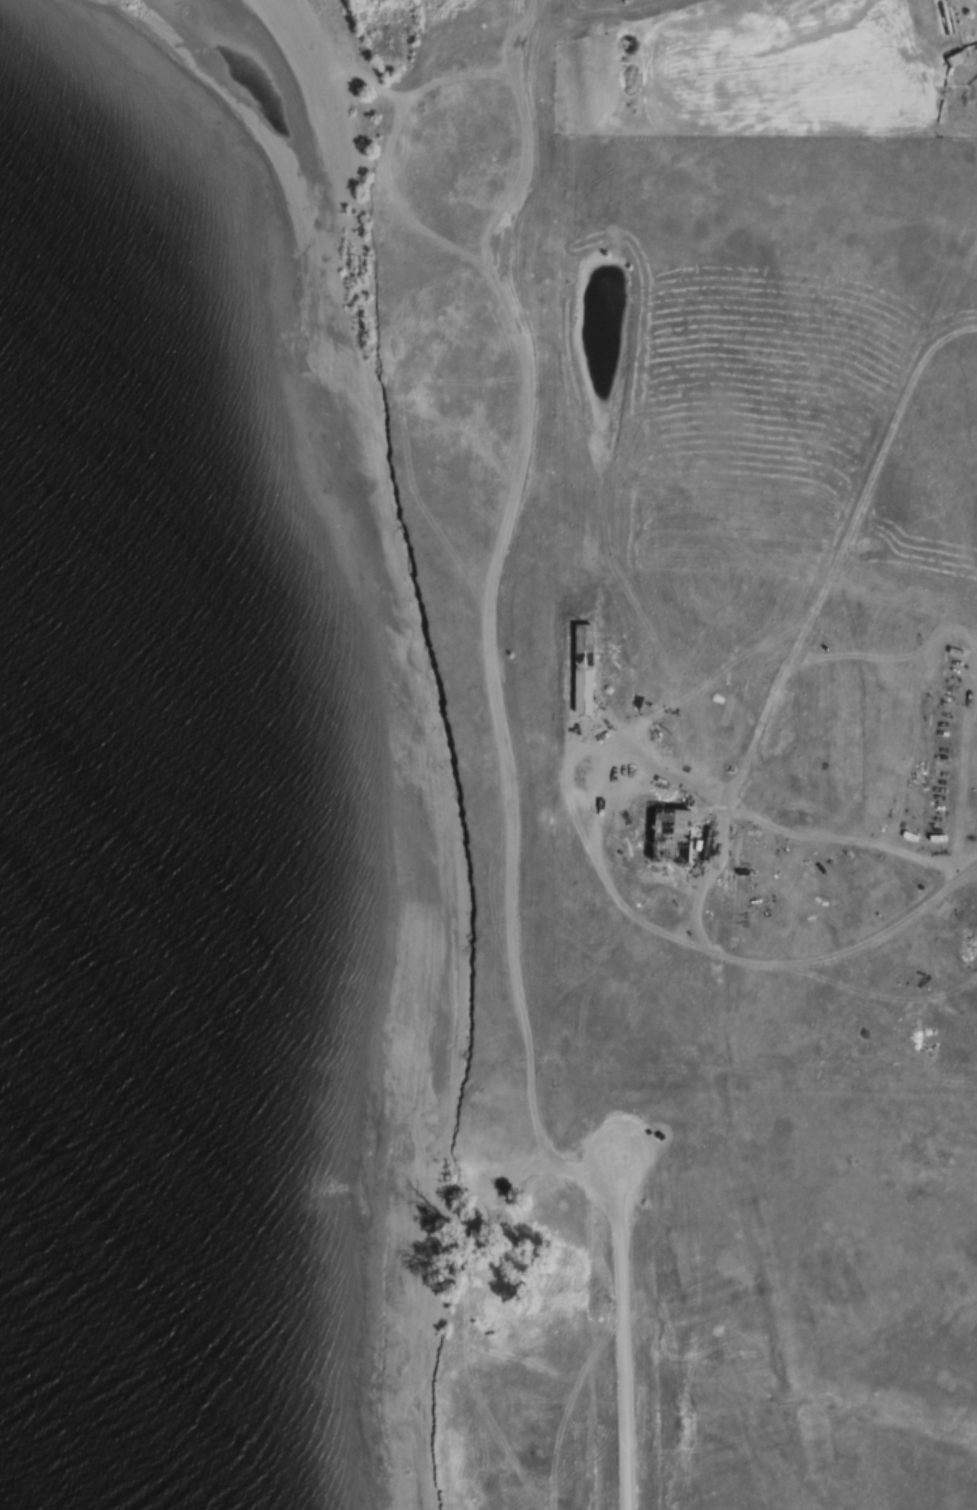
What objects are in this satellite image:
building: (581, 679)
building: (678, 825)

